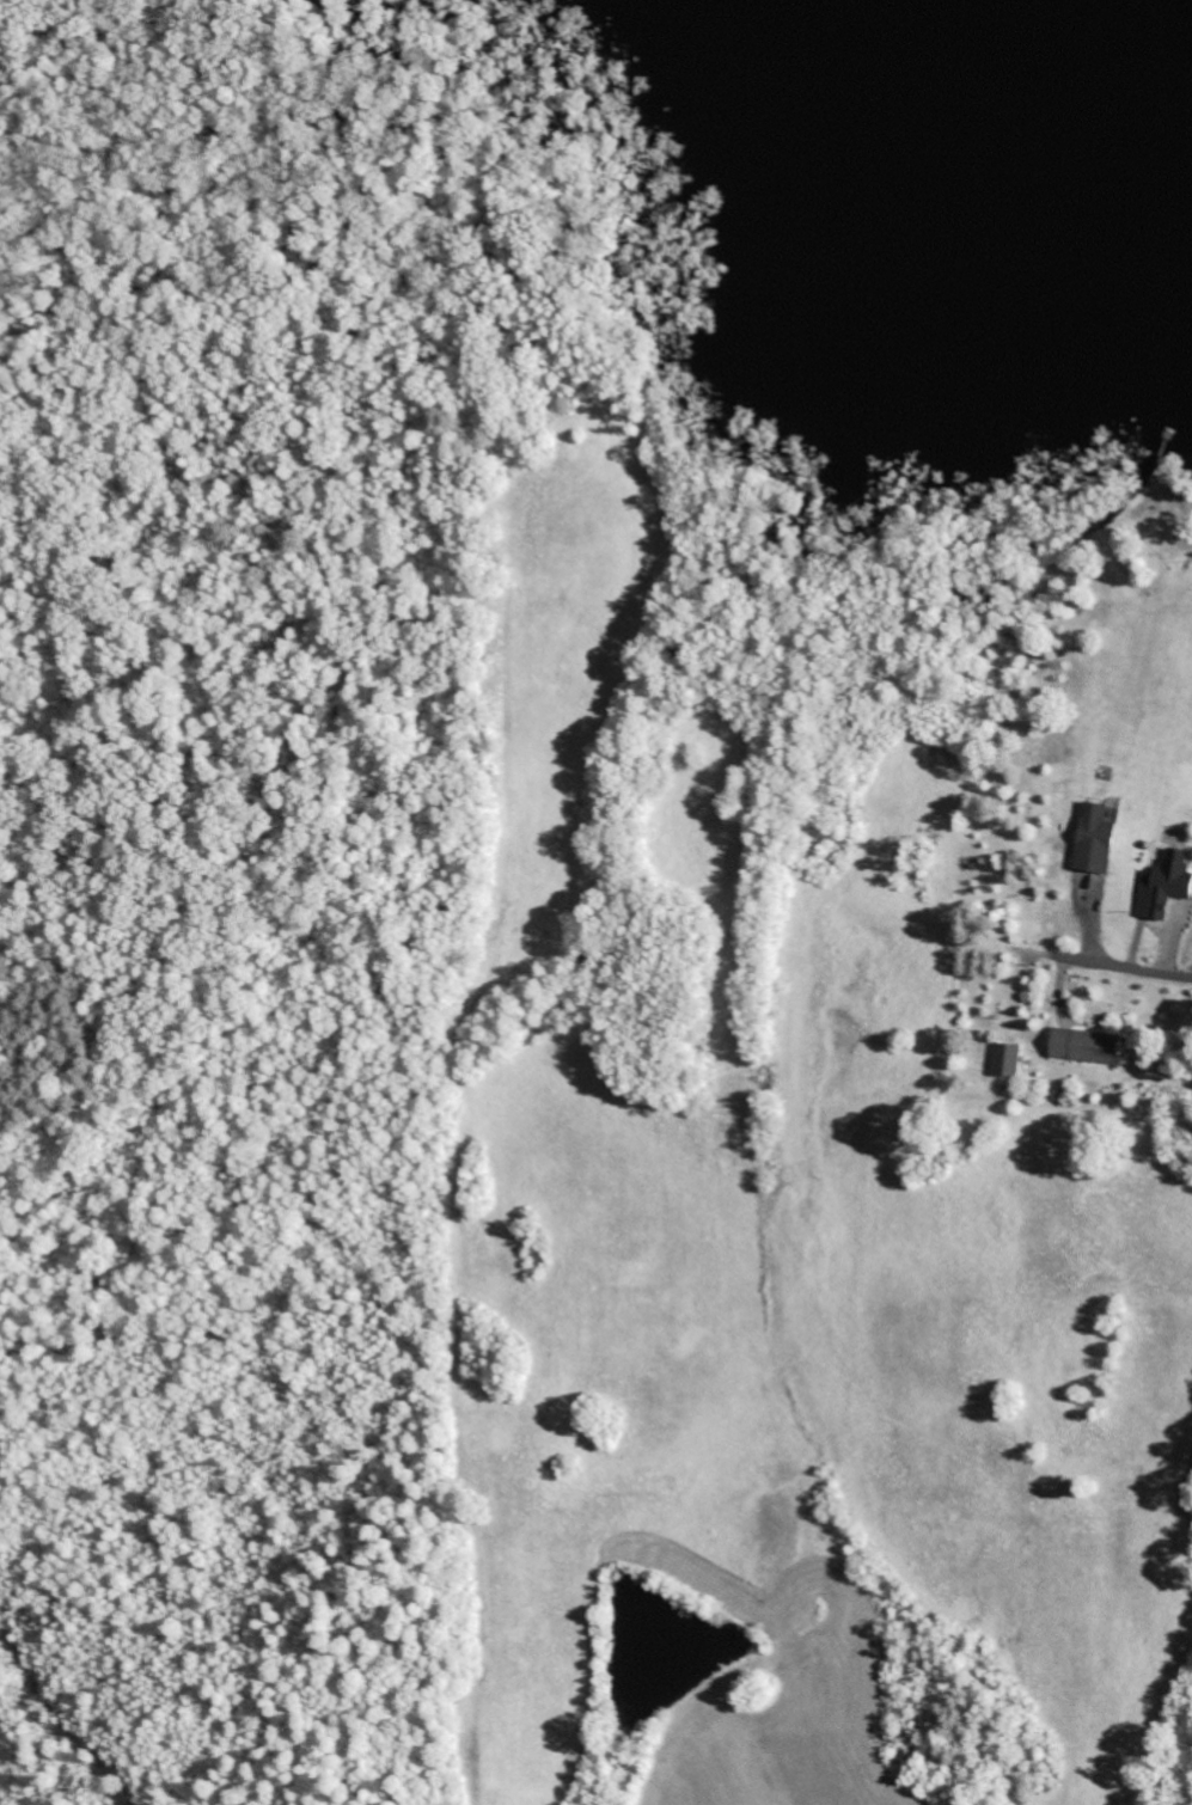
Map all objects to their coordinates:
building: (1093, 838)
building: (1162, 883)
road: (1125, 969)
building: (1081, 1045)
building: (1004, 1059)

